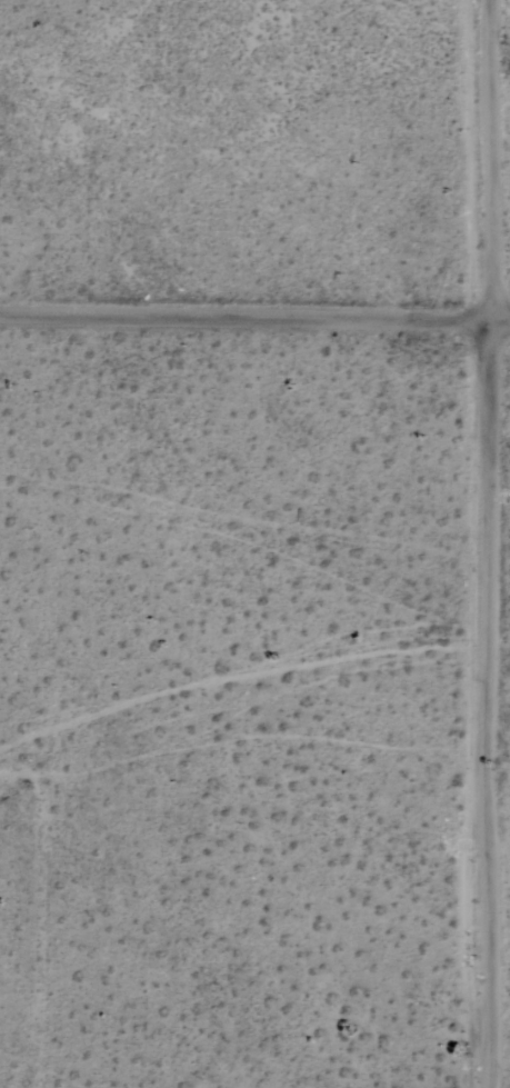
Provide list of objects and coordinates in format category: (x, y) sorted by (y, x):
road: (491, 167)
road: (254, 329)
road: (489, 710)
road: (14, 766)
road: (24, 927)

